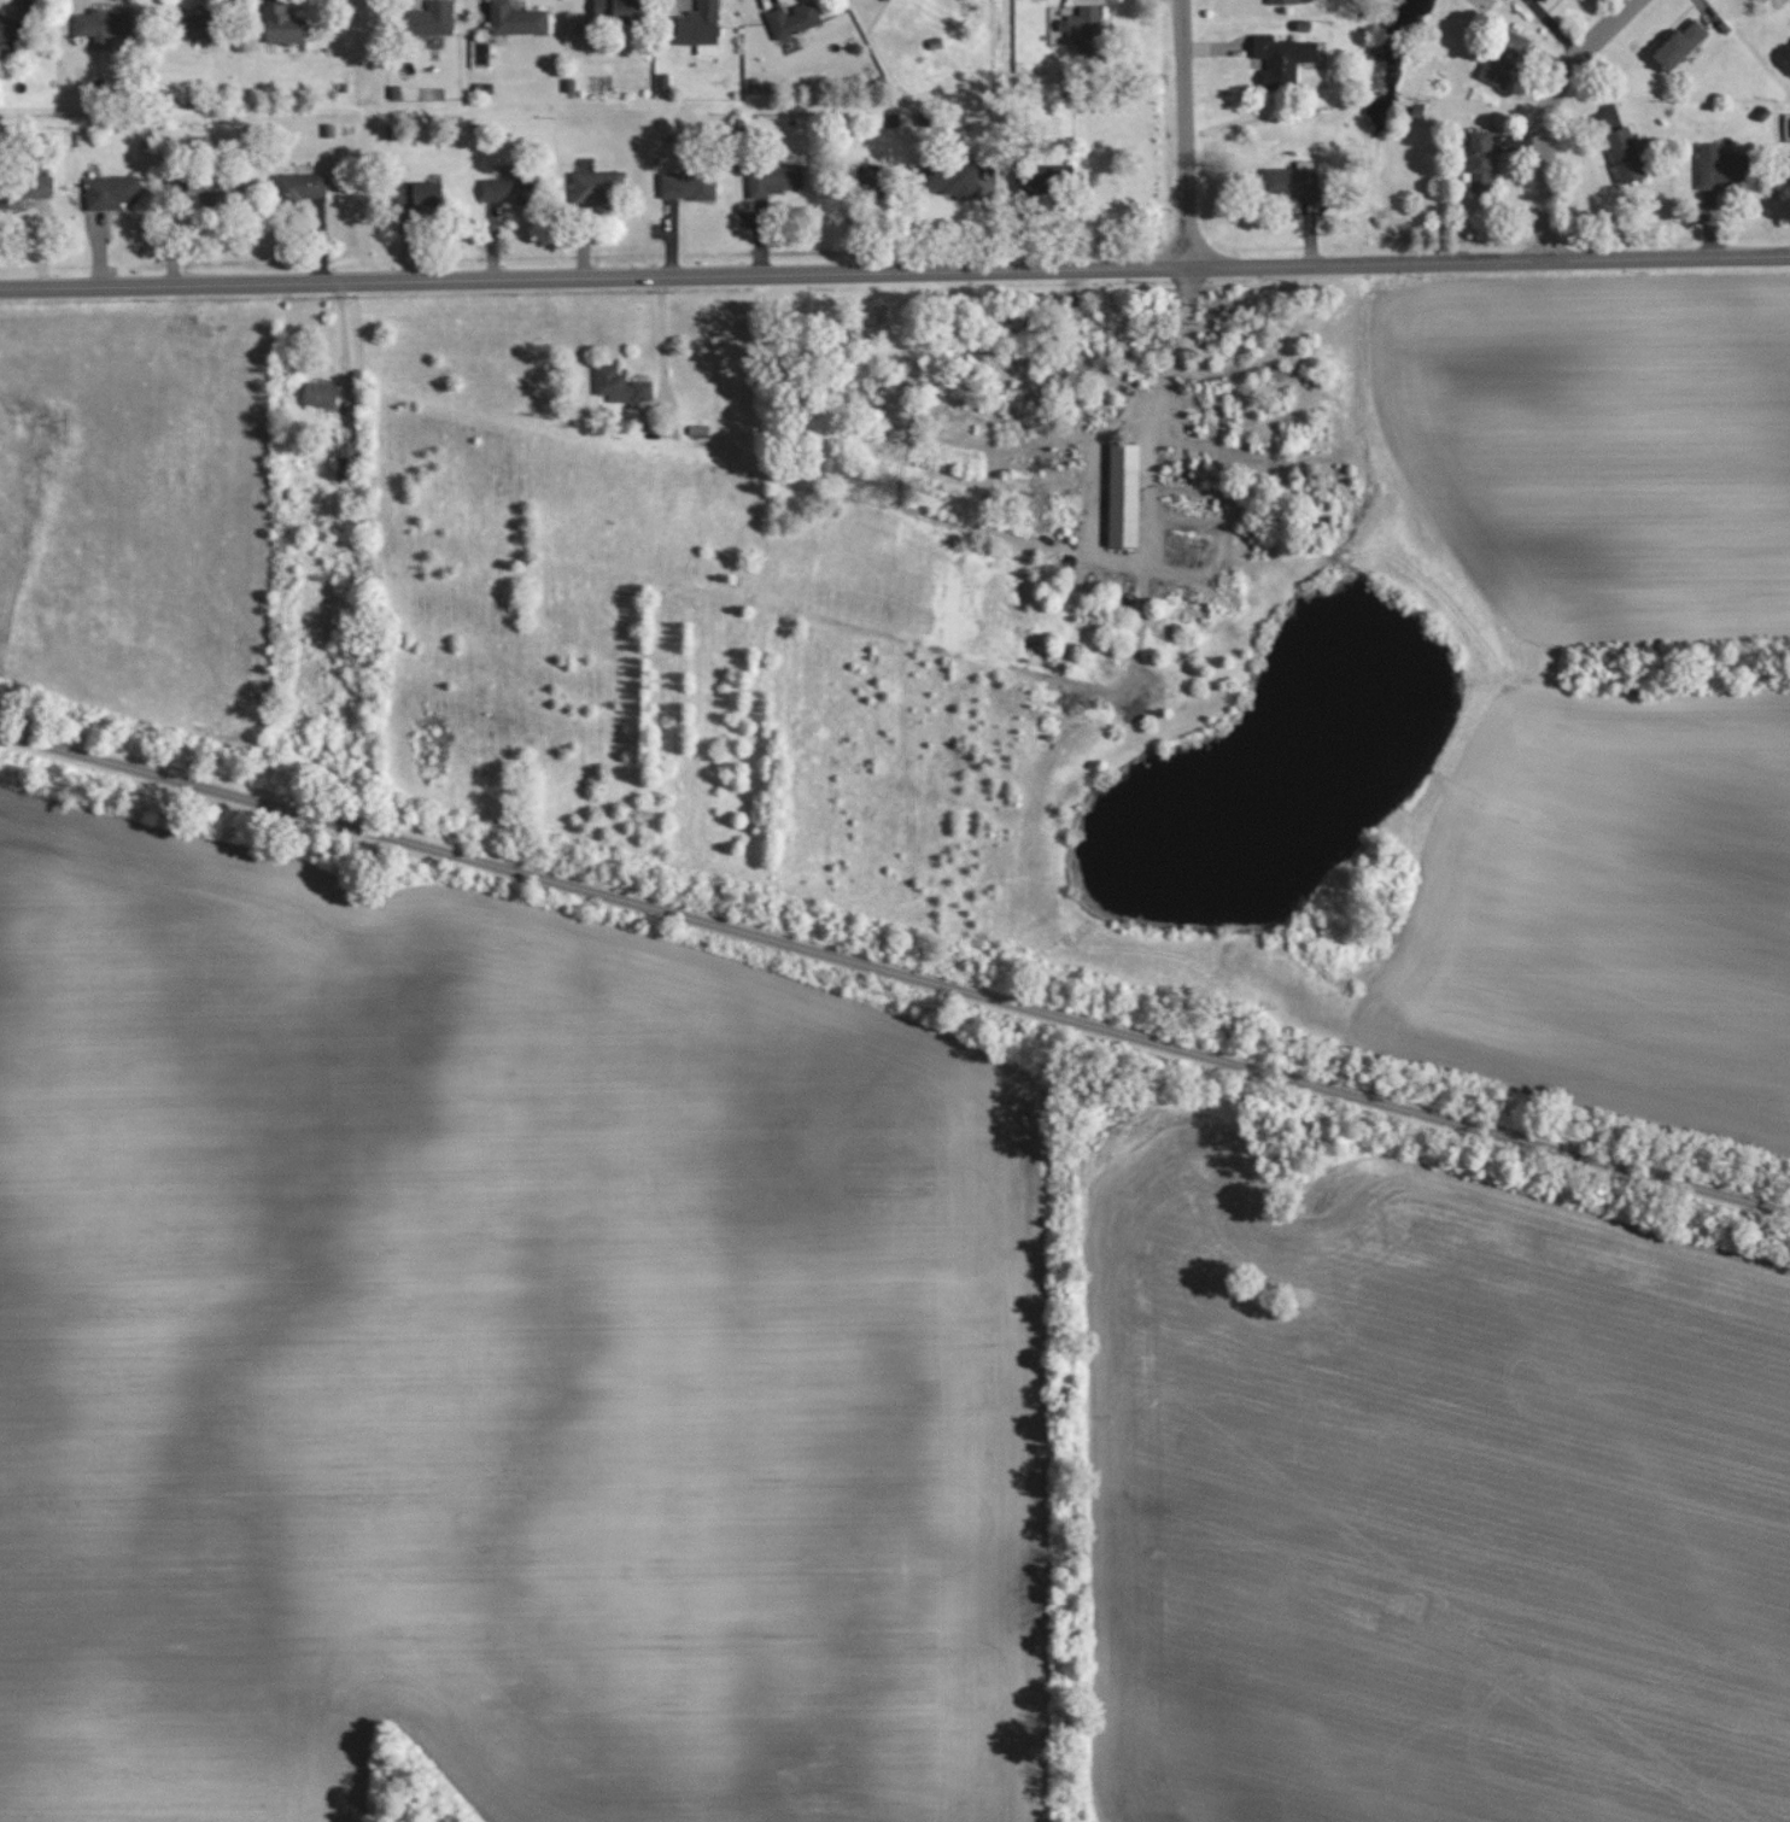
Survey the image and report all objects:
building: (888, 0)
building: (1544, 0)
building: (1282, 1)
building: (618, 11)
building: (428, 18)
building: (792, 18)
building: (516, 19)
building: (103, 24)
building: (283, 24)
building: (195, 27)
building: (700, 27)
building: (13, 28)
building: (1084, 29)
building: (1679, 45)
building: (1282, 58)
building: (1503, 58)
road: (1546, 115)
road: (1187, 134)
building: (1625, 154)
building: (1481, 158)
building: (1789, 158)
building: (1721, 166)
building: (870, 175)
building: (776, 177)
building: (1043, 177)
building: (952, 178)
building: (1292, 181)
building: (688, 184)
building: (300, 186)
building: (598, 186)
building: (508, 189)
building: (23, 191)
building: (111, 191)
building: (217, 191)
building: (419, 193)
road: (895, 275)
road: (346, 345)
road: (661, 347)
building: (620, 383)
road: (1131, 385)
building: (321, 394)
building: (349, 461)
building: (1060, 481)
building: (1123, 494)
park: (134, 502)
road: (894, 972)

